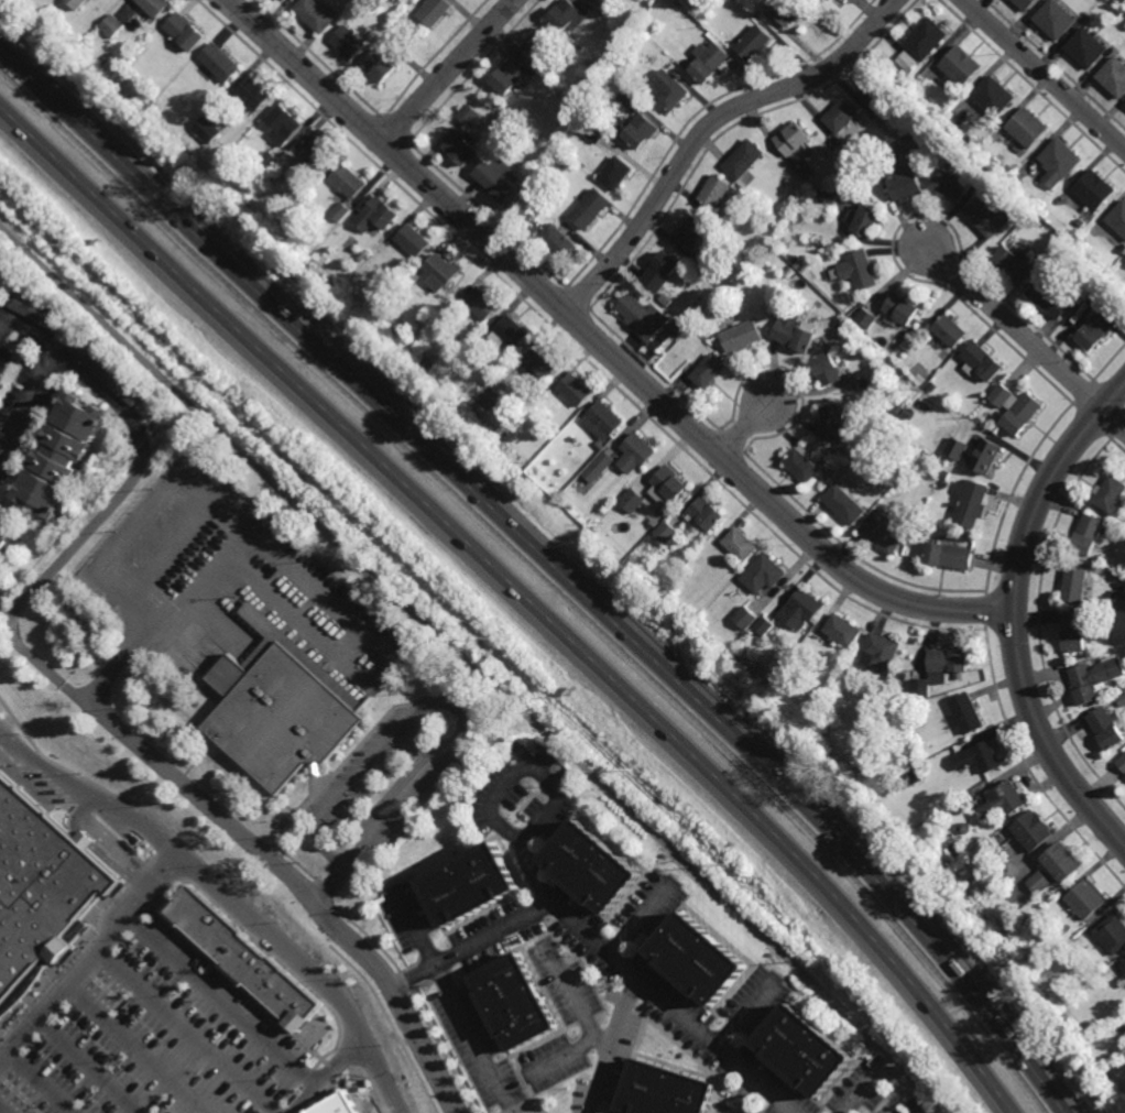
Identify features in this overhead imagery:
building: (281, 0)
building: (283, 0)
building: (831, 0)
building: (593, 1)
building: (1121, 2)
building: (77, 3)
building: (1026, 3)
building: (676, 6)
building: (155, 7)
building: (434, 11)
building: (788, 11)
building: (1118, 12)
building: (315, 14)
building: (566, 17)
building: (1057, 18)
building: (112, 26)
building: (186, 33)
building: (389, 40)
building: (348, 42)
building: (753, 43)
building: (922, 43)
building: (537, 44)
building: (1088, 46)
building: (708, 62)
building: (220, 63)
building: (962, 65)
building: (379, 66)
road: (448, 72)
building: (1115, 74)
road: (1042, 75)
building: (506, 80)
building: (556, 83)
building: (668, 91)
building: (874, 91)
building: (254, 92)
building: (995, 95)
building: (647, 97)
building: (930, 97)
building: (627, 100)
building: (467, 114)
building: (841, 116)
building: (925, 120)
building: (883, 122)
building: (283, 124)
building: (615, 126)
road: (706, 127)
building: (1029, 127)
building: (206, 130)
building: (641, 130)
building: (594, 131)
building: (793, 137)
building: (914, 140)
building: (460, 146)
building: (189, 151)
building: (316, 153)
building: (568, 161)
building: (744, 161)
building: (1061, 161)
building: (269, 162)
building: (994, 162)
building: (986, 170)
building: (806, 171)
building: (615, 172)
building: (499, 177)
building: (348, 181)
building: (907, 182)
building: (951, 182)
building: (1096, 189)
building: (714, 190)
building: (1030, 194)
building: (823, 197)
building: (590, 207)
building: (340, 212)
building: (993, 214)
building: (376, 215)
building: (1118, 218)
building: (865, 219)
building: (538, 228)
building: (692, 232)
building: (414, 239)
building: (558, 240)
building: (1063, 241)
power tower: (64, 250)
building: (1124, 250)
building: (362, 254)
building: (702, 263)
building: (1016, 263)
building: (797, 264)
building: (860, 269)
building: (443, 271)
building: (660, 271)
building: (716, 284)
building: (1122, 296)
building: (1050, 298)
building: (666, 299)
building: (482, 303)
building: (902, 308)
building: (39, 312)
building: (642, 317)
building: (867, 317)
road: (1015, 328)
building: (677, 329)
building: (1096, 329)
building: (944, 330)
building: (511, 331)
building: (795, 331)
building: (853, 331)
building: (743, 336)
road: (601, 346)
building: (981, 361)
building: (542, 363)
road: (45, 369)
building: (106, 369)
building: (828, 369)
building: (708, 371)
power tower: (203, 382)
building: (931, 386)
building: (575, 389)
building: (491, 396)
building: (898, 407)
building: (1015, 407)
building: (907, 413)
road: (1113, 417)
building: (832, 418)
building: (602, 419)
road: (745, 428)
building: (599, 445)
building: (635, 452)
building: (915, 454)
building: (63, 455)
building: (983, 456)
building: (801, 463)
building: (598, 467)
building: (831, 472)
building: (944, 474)
building: (668, 485)
building: (1108, 493)
building: (631, 500)
building: (971, 502)
building: (844, 504)
power tower: (347, 513)
building: (705, 514)
building: (1123, 522)
road: (88, 530)
building: (665, 532)
building: (1086, 534)
building: (6, 536)
building: (882, 536)
building: (969, 538)
building: (740, 544)
building: (949, 556)
building: (1097, 560)
road: (550, 563)
building: (763, 575)
building: (1074, 586)
road: (522, 594)
building: (1117, 599)
park: (419, 607)
building: (801, 609)
road: (1013, 613)
building: (745, 618)
building: (764, 626)
building: (842, 631)
building: (1075, 632)
power tower: (484, 639)
road: (130, 652)
building: (880, 652)
building: (941, 670)
road: (476, 673)
building: (903, 676)
building: (1094, 678)
building: (1122, 699)
road: (438, 701)
building: (783, 705)
building: (283, 708)
building: (968, 713)
building: (1108, 727)
building: (980, 757)
building: (904, 760)
building: (1122, 762)
parking lot: (370, 766)
power tower: (621, 767)
building: (914, 776)
road: (559, 784)
road: (397, 788)
road: (91, 795)
building: (1003, 798)
parking lot: (423, 803)
building: (963, 804)
building: (963, 827)
building: (1034, 829)
building: (958, 850)
building: (995, 855)
building: (1064, 859)
power tower: (721, 861)
building: (594, 863)
building: (1040, 881)
building: (473, 884)
road: (298, 886)
road: (328, 887)
building: (37, 895)
building: (1088, 897)
road: (640, 925)
building: (1113, 931)
power tower: (815, 951)
building: (699, 953)
road: (603, 957)
road: (89, 958)
building: (241, 959)
building: (1123, 963)
building: (1029, 964)
road: (304, 972)
road: (569, 993)
road: (223, 1000)
building: (516, 1000)
road: (455, 1003)
road: (745, 1014)
road: (188, 1032)
road: (610, 1047)
building: (807, 1047)
road: (134, 1049)
road: (568, 1052)
road: (87, 1066)
road: (327, 1077)
road: (880, 1078)
road: (35, 1083)
building: (664, 1090)
road: (746, 1096)

